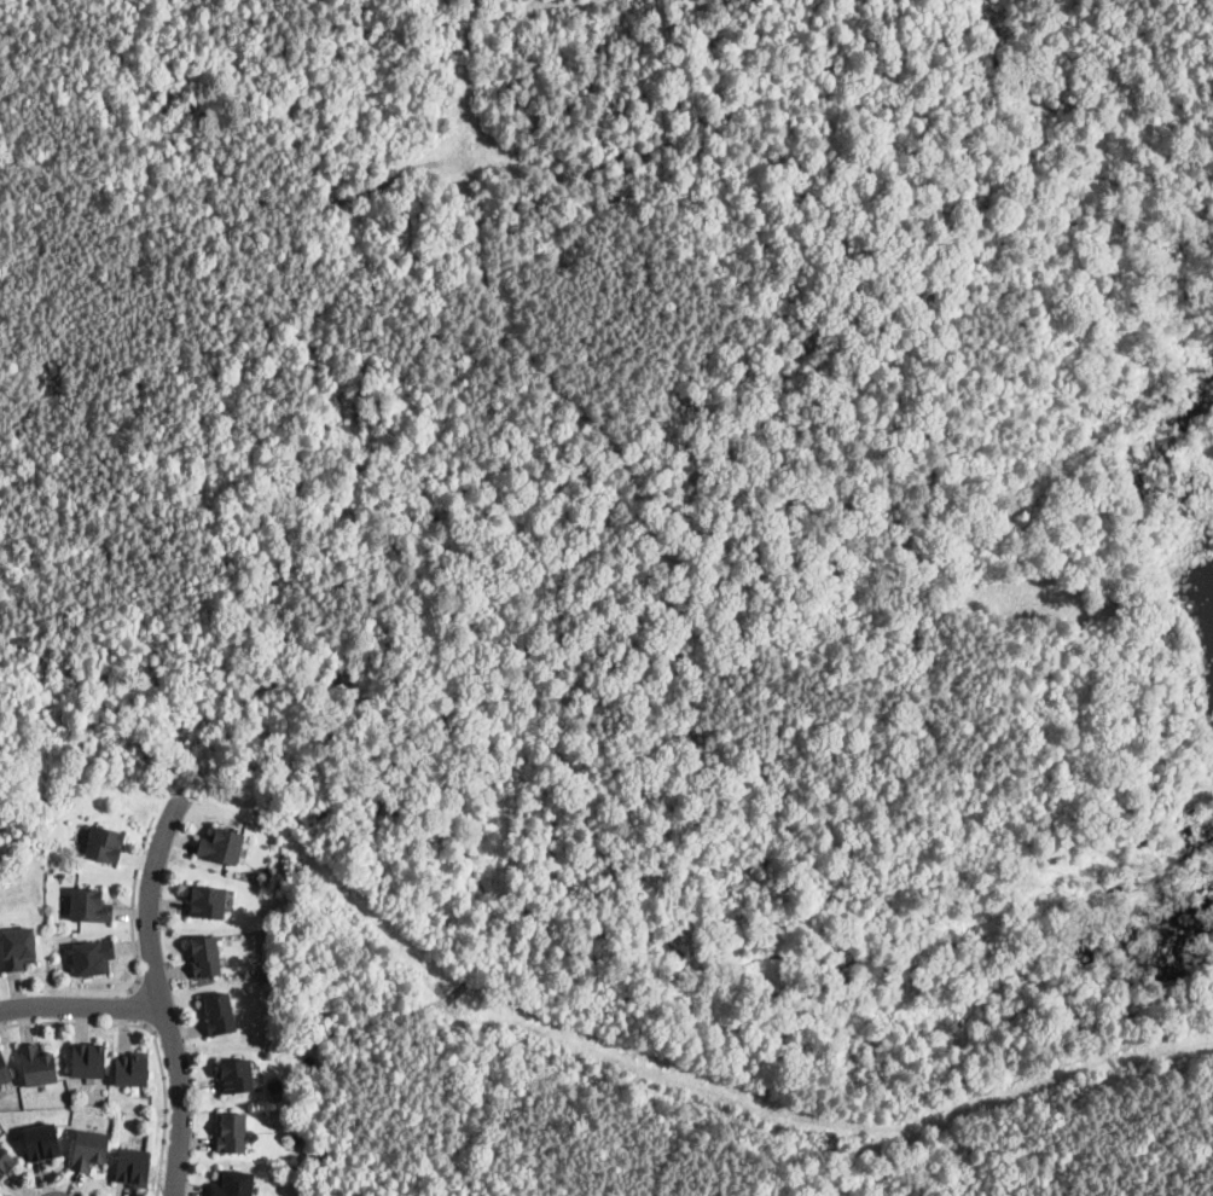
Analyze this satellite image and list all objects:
park: (1190, 612)
building: (124, 809)
building: (122, 823)
building: (105, 843)
building: (221, 844)
building: (208, 901)
building: (89, 904)
road: (130, 904)
building: (18, 947)
building: (93, 956)
building: (204, 956)
road: (162, 992)
road: (141, 1003)
road: (82, 1004)
building: (219, 1014)
road: (153, 1035)
building: (88, 1058)
building: (37, 1064)
building: (130, 1069)
building: (4, 1070)
building: (237, 1075)
building: (231, 1132)
building: (41, 1142)
building: (88, 1148)
building: (6, 1162)
building: (132, 1166)
building: (232, 1183)

